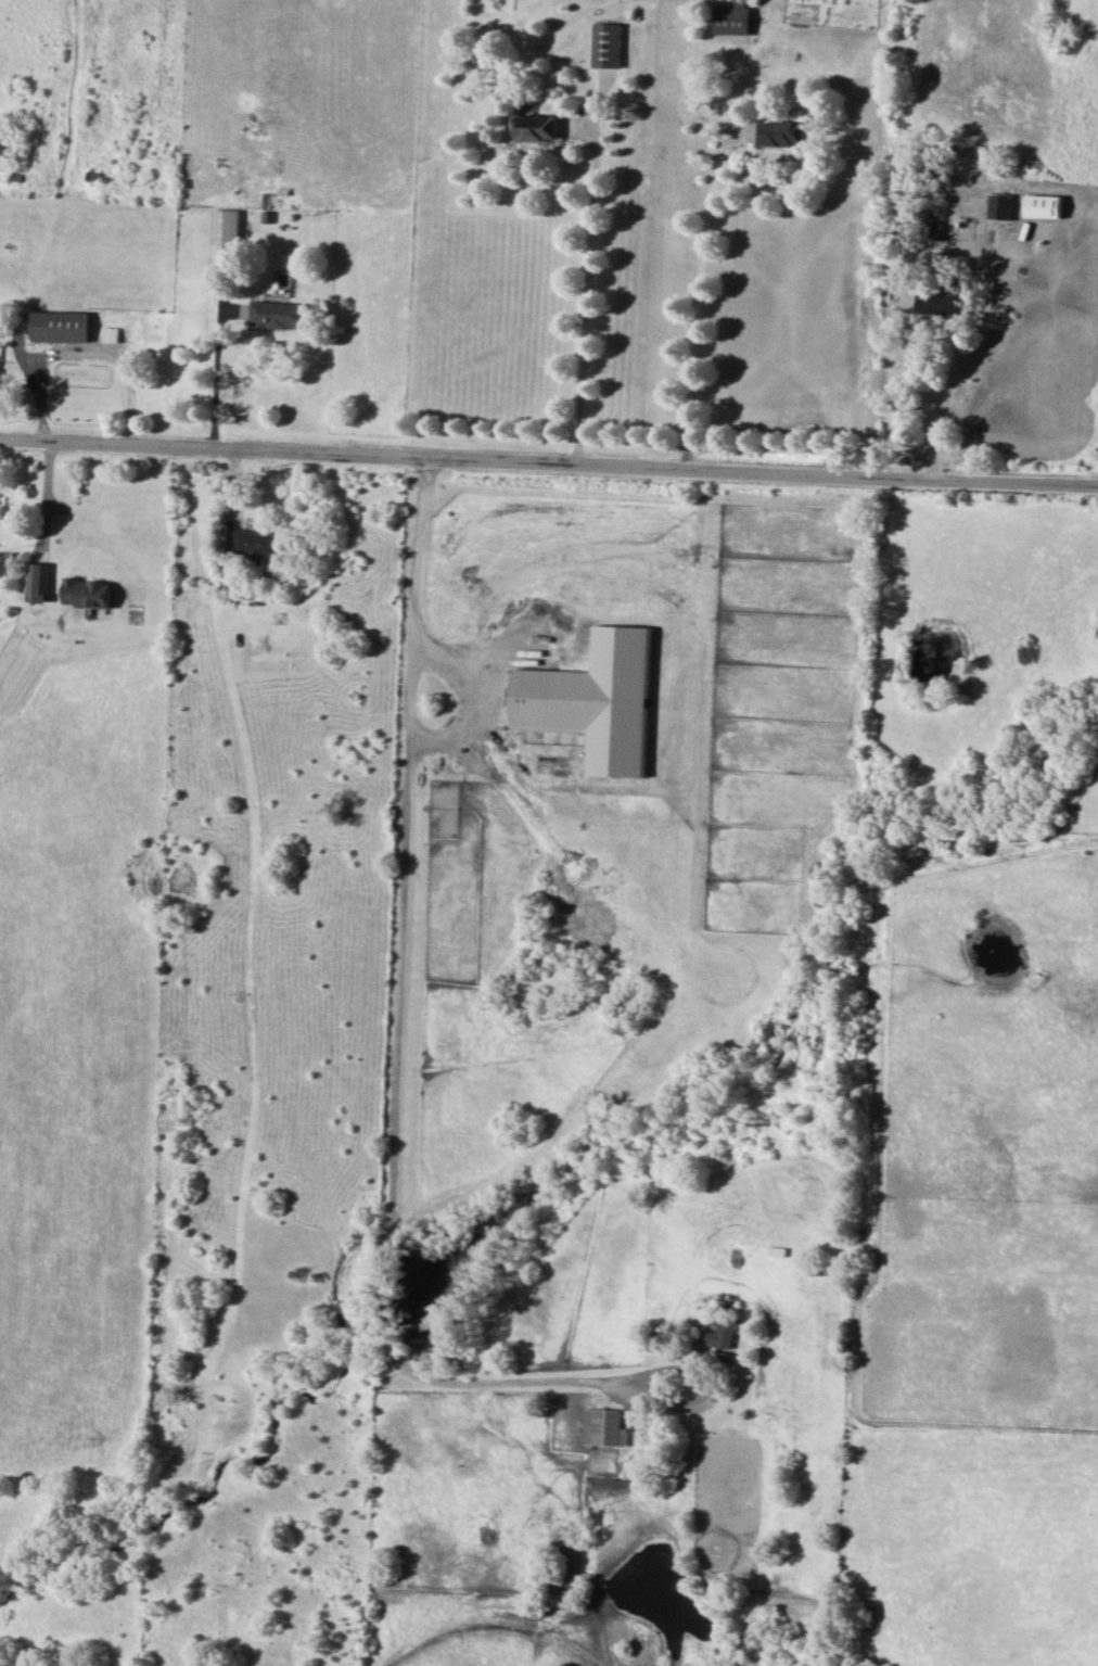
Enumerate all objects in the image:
building: (733, 20)
building: (609, 44)
building: (535, 127)
building: (783, 133)
building: (1001, 206)
building: (228, 227)
road: (704, 257)
road: (590, 280)
building: (944, 304)
building: (282, 315)
building: (63, 327)
building: (114, 334)
road: (86, 354)
road: (220, 379)
road: (945, 414)
road: (548, 462)
building: (257, 543)
building: (42, 583)
building: (89, 593)
road: (416, 597)
road: (475, 700)
building: (598, 701)
road: (391, 1272)
building: (725, 1335)
building: (605, 1428)

